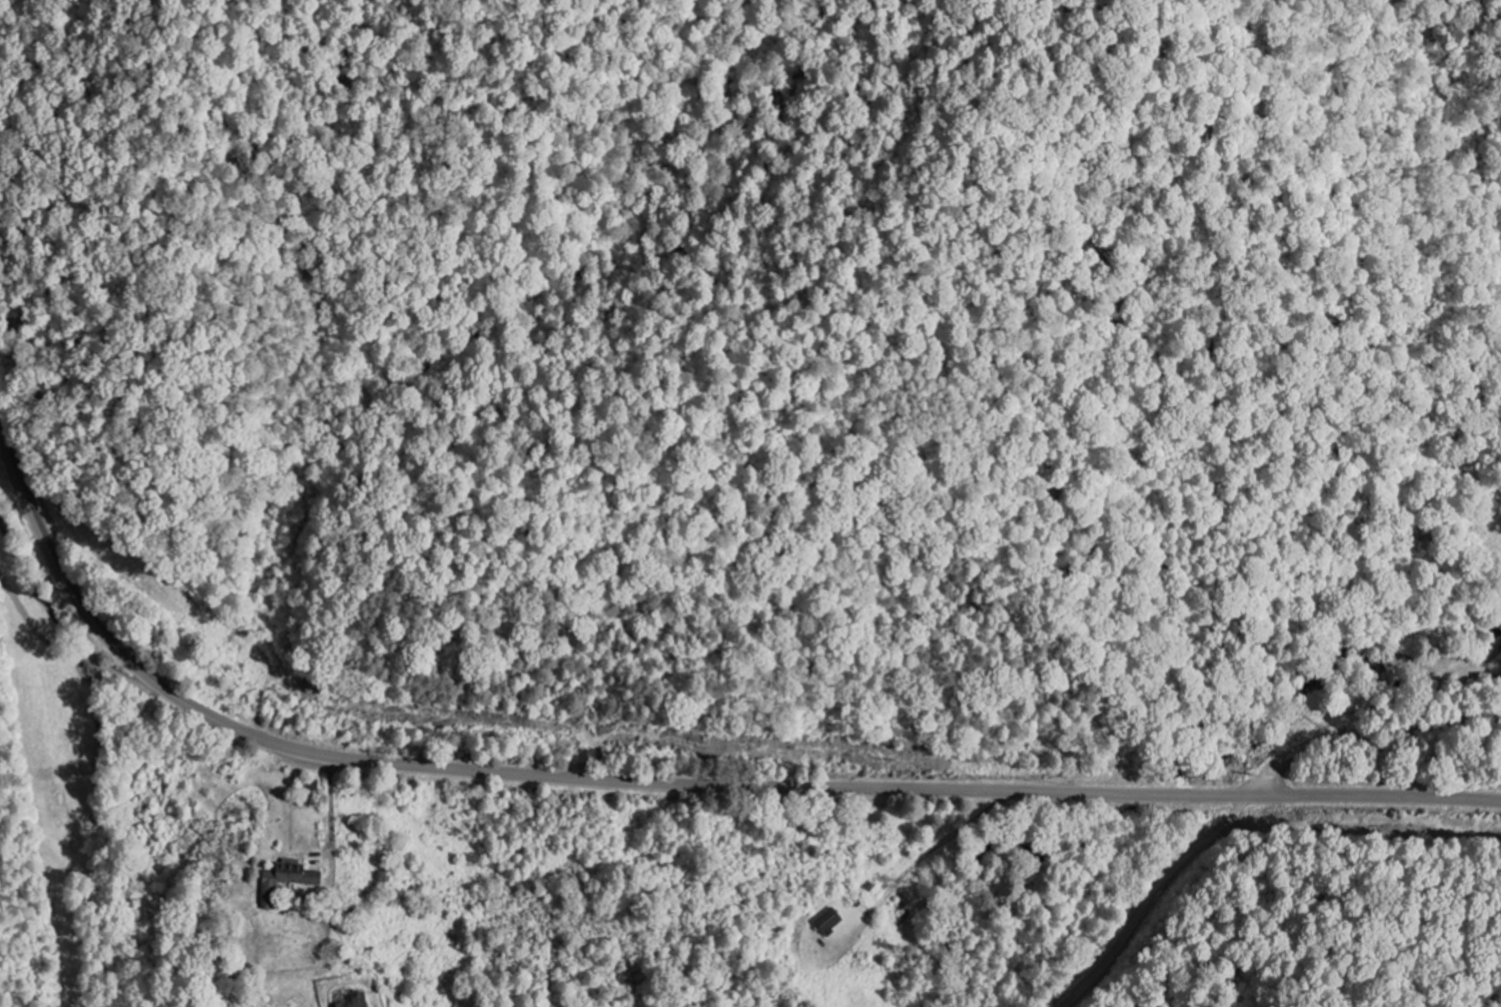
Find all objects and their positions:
road: (1367, 734)
road: (666, 781)
building: (303, 875)
road: (1154, 896)
building: (831, 921)

